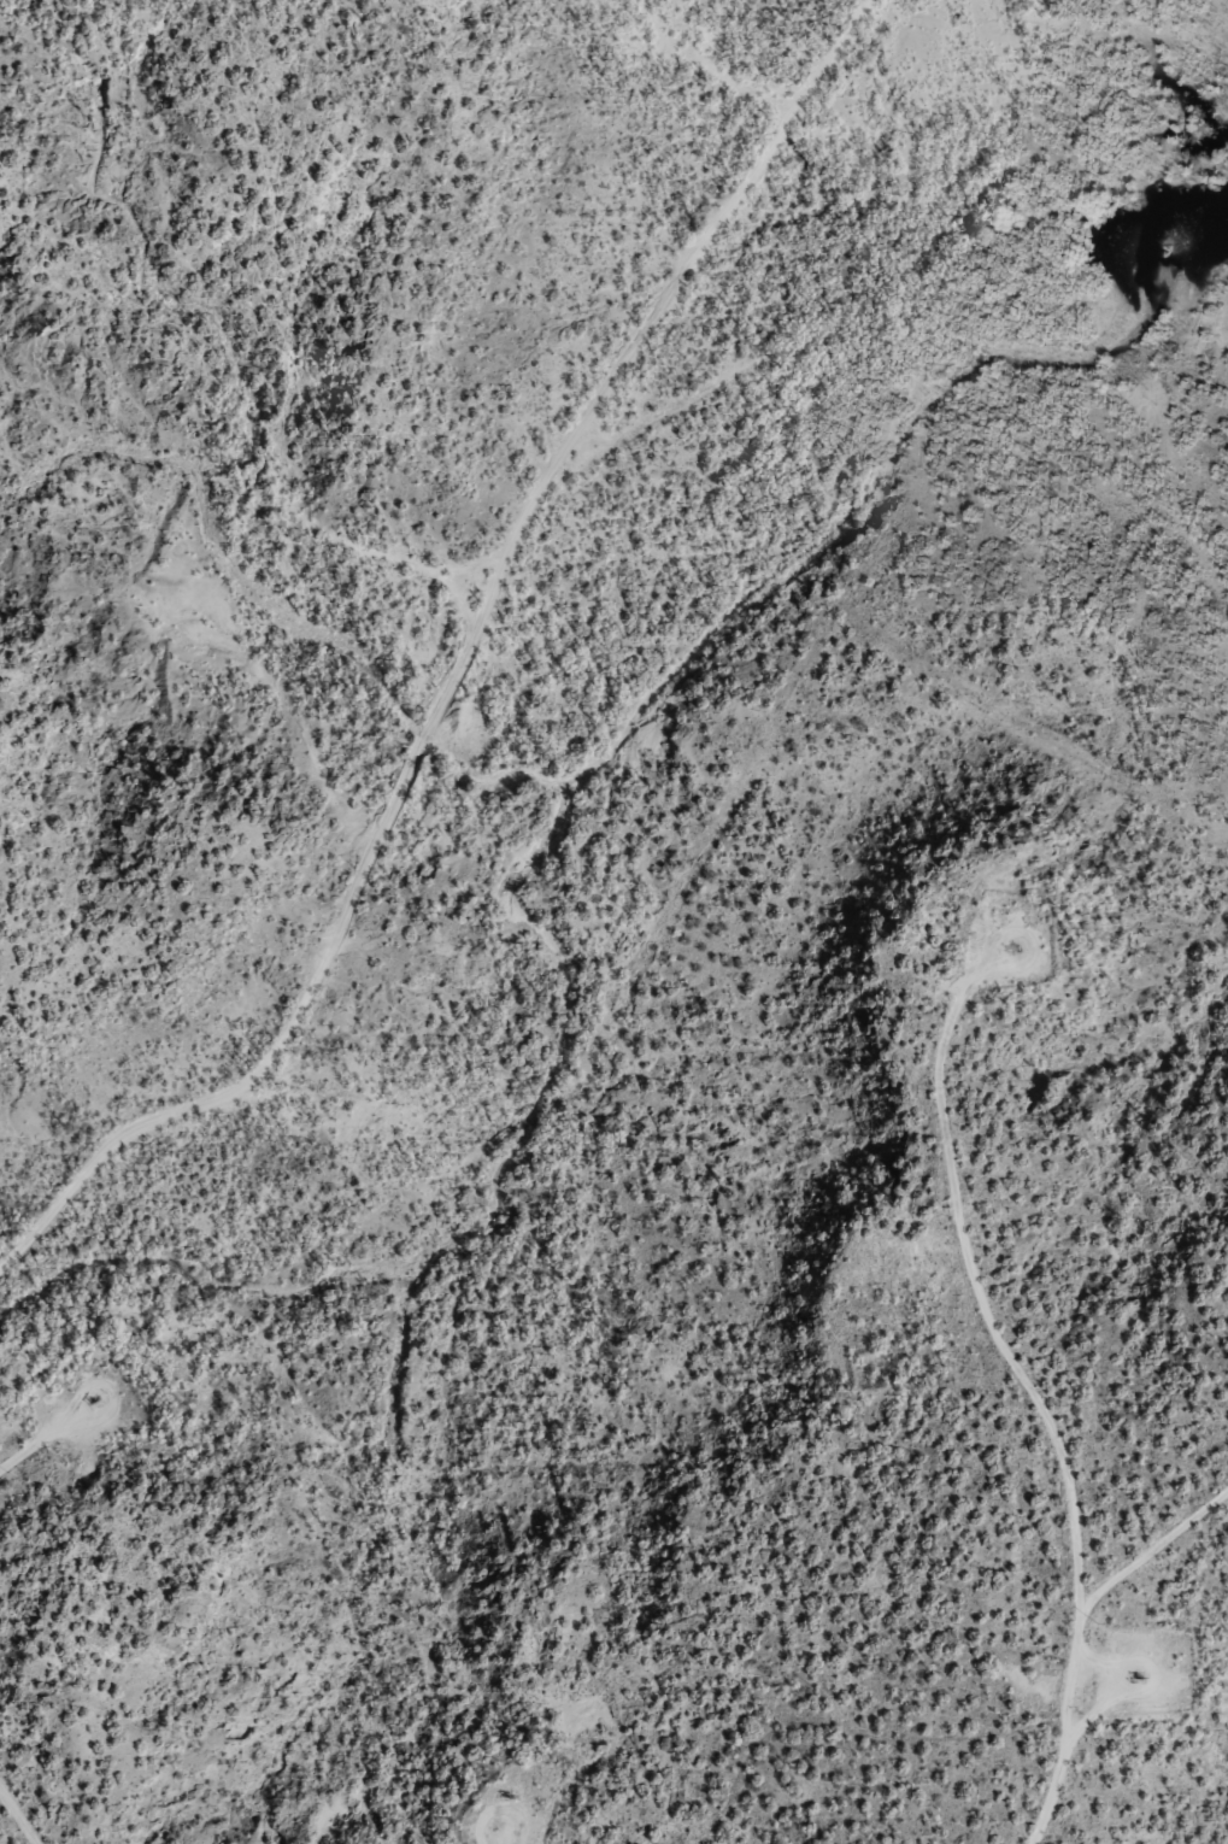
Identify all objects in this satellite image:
road: (1028, 350)
road: (497, 689)
road: (974, 1444)
road: (1105, 1635)
road: (0, 1843)

